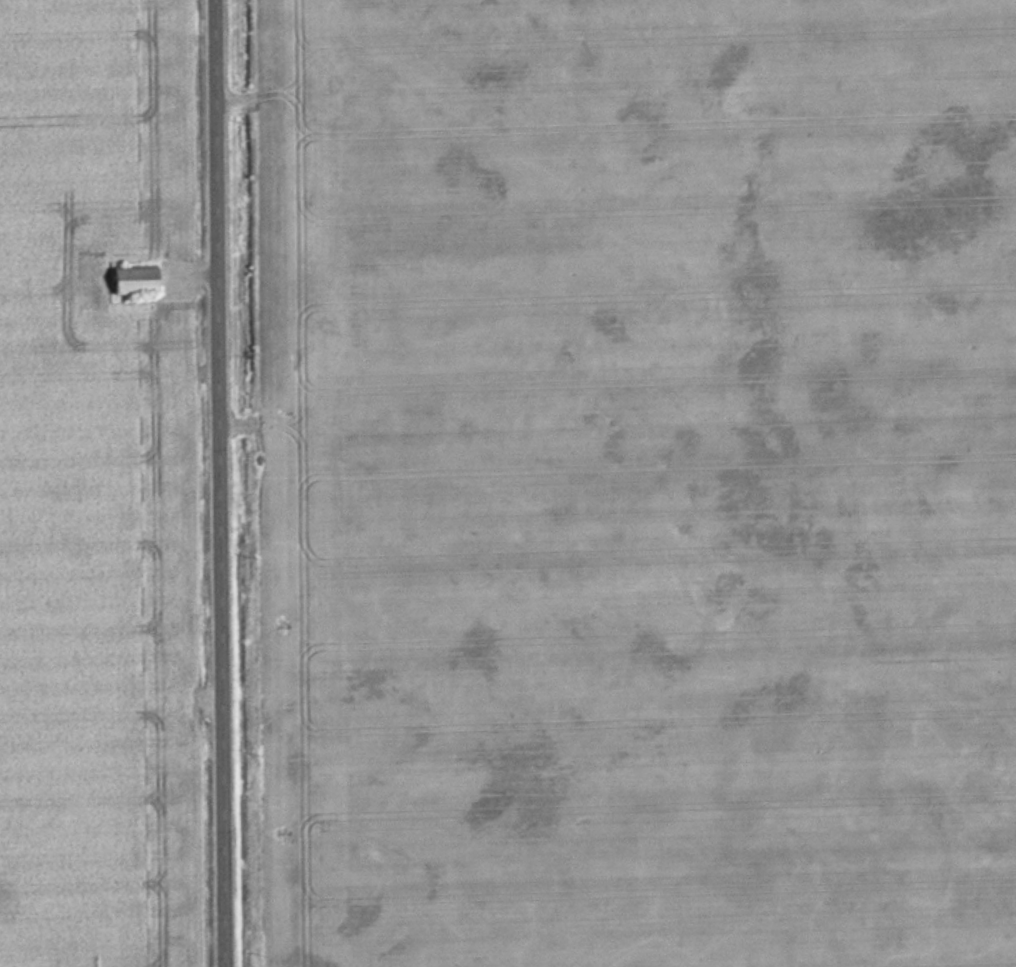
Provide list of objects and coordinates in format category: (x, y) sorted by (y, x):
building: (138, 280)
road: (217, 483)

